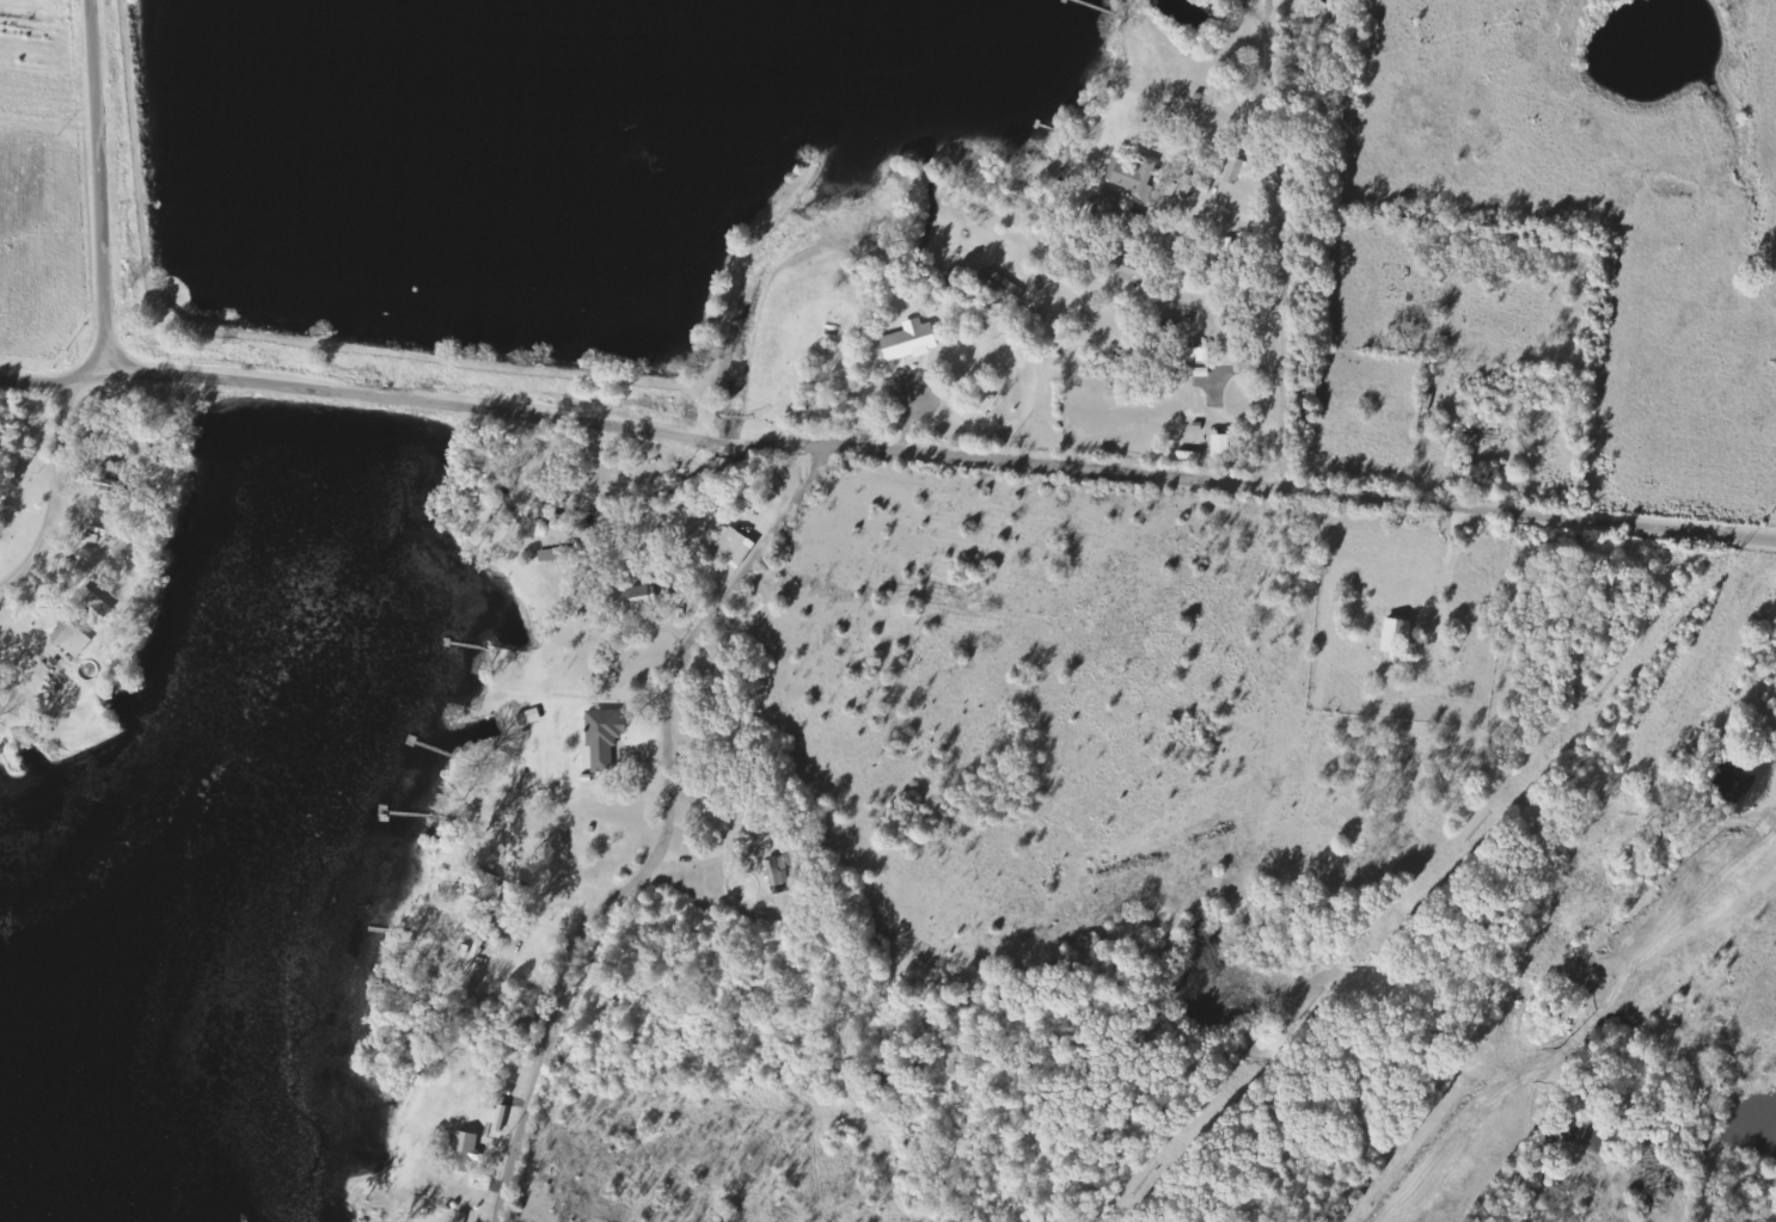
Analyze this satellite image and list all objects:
building: (1208, 6)
road: (167, 7)
road: (1122, 165)
building: (1238, 171)
road: (67, 173)
building: (1134, 173)
building: (1098, 215)
road: (1273, 241)
building: (1123, 266)
building: (912, 340)
building: (1198, 355)
road: (38, 367)
building: (1223, 446)
road: (924, 452)
road: (29, 466)
building: (110, 478)
building: (739, 504)
building: (734, 545)
building: (638, 598)
building: (94, 606)
building: (73, 638)
building: (1398, 638)
building: (531, 717)
building: (604, 737)
road: (661, 830)
building: (779, 873)
building: (497, 1118)
building: (465, 1152)

